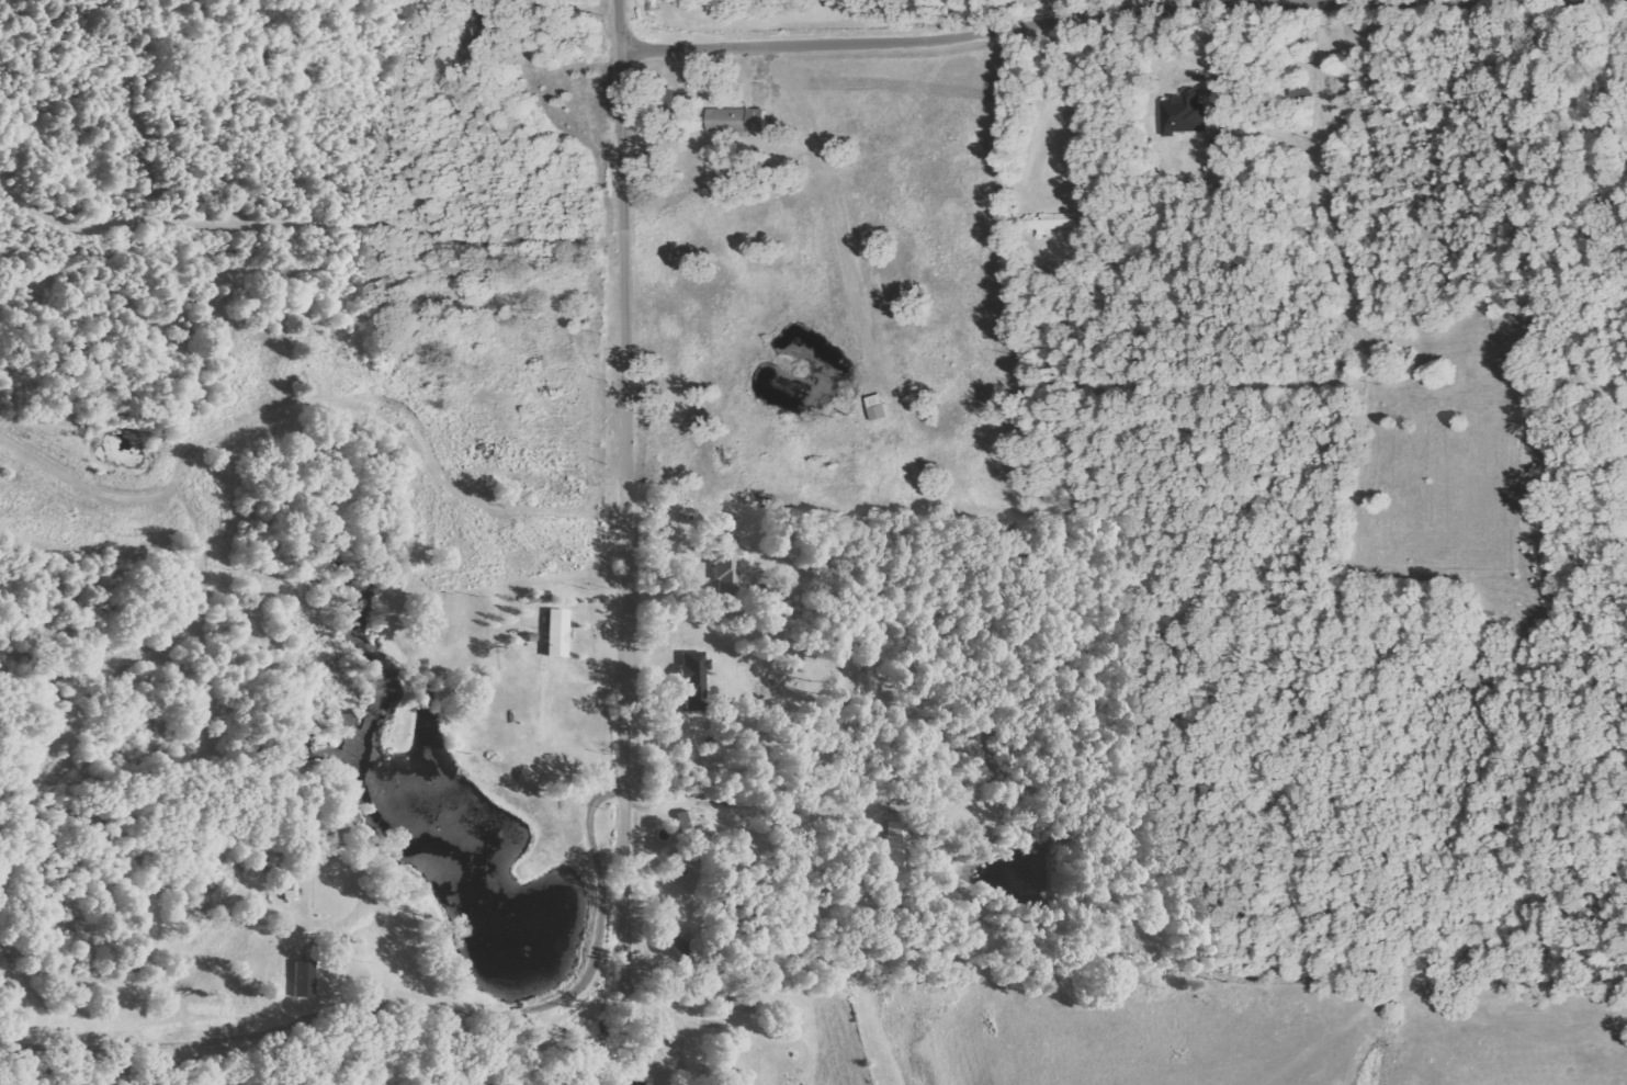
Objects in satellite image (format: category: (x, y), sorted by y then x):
road: (1122, 12)
building: (1183, 113)
building: (736, 121)
building: (1048, 225)
building: (877, 407)
road: (626, 542)
building: (725, 560)
building: (555, 633)
building: (692, 680)
building: (687, 825)
building: (895, 849)
building: (302, 979)
building: (739, 1006)

